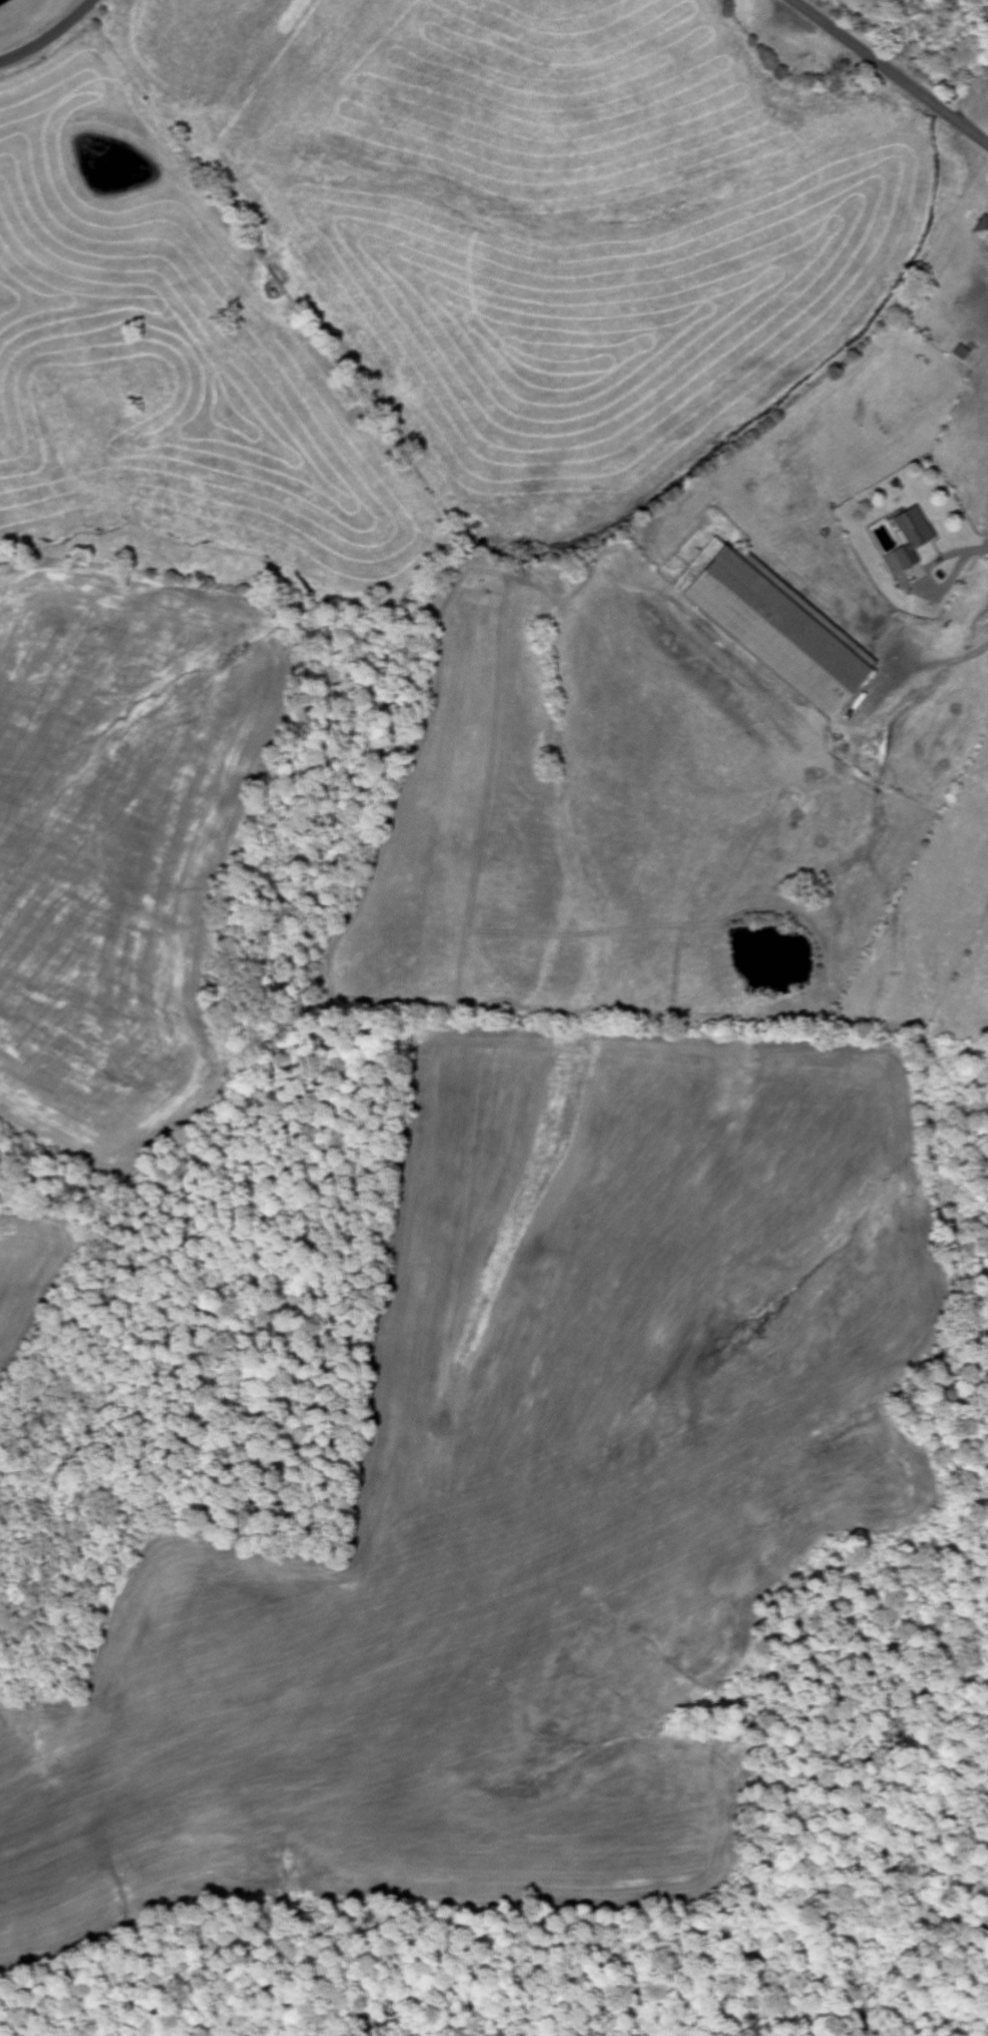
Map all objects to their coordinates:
road: (49, 35)
road: (888, 74)
building: (981, 233)
building: (908, 540)
building: (774, 629)

